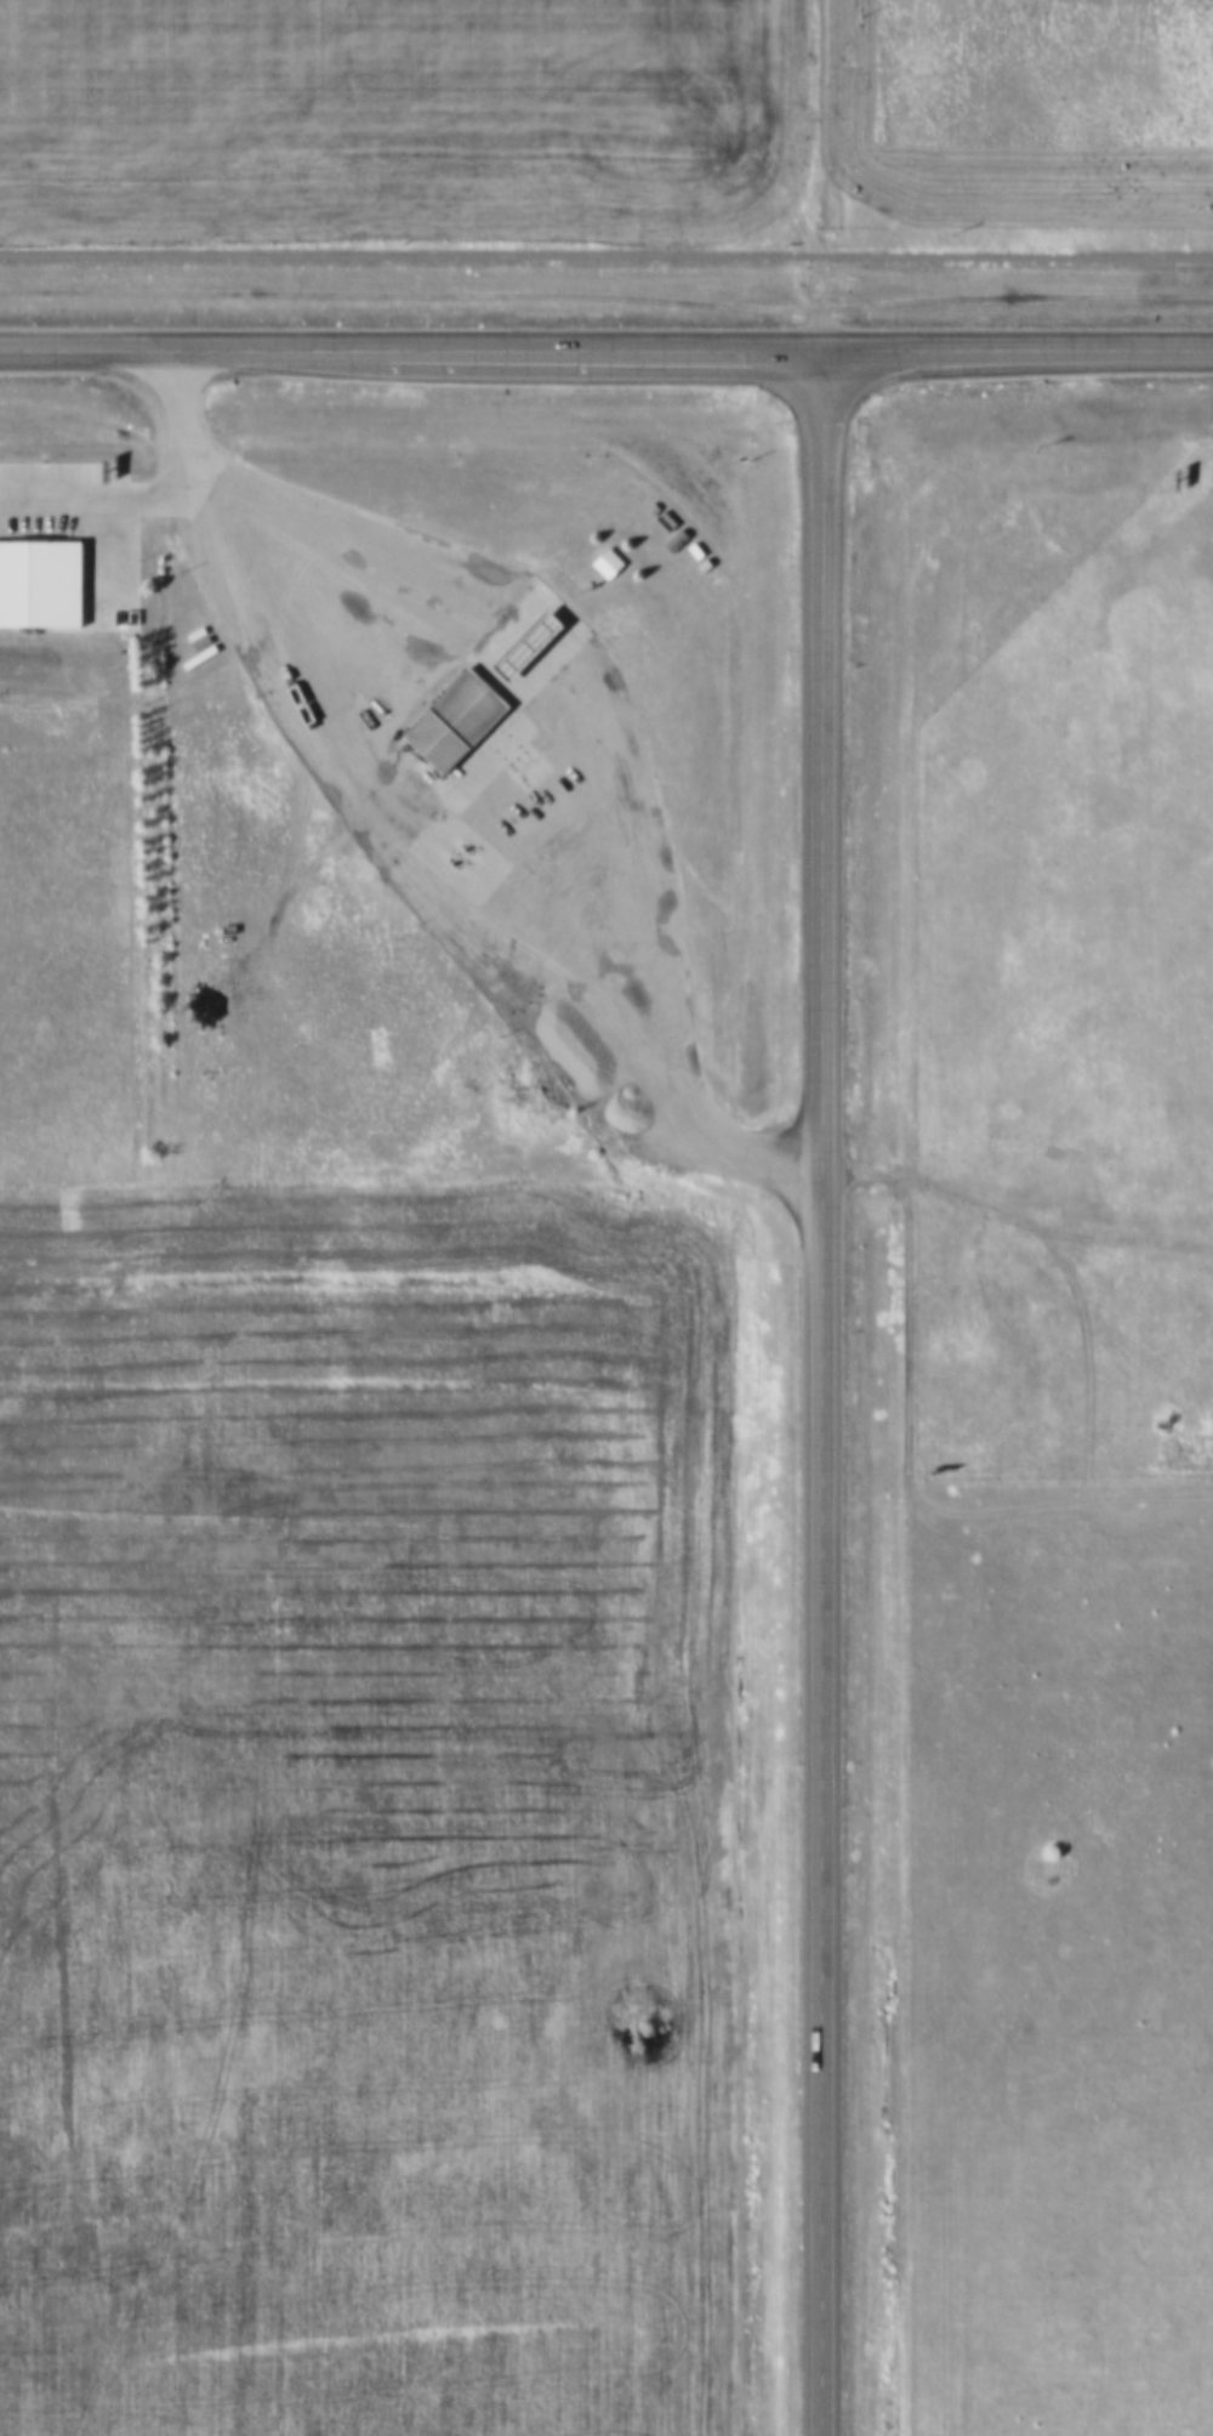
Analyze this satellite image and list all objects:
road: (827, 174)
road: (606, 256)
road: (194, 345)
road: (603, 345)
road: (1015, 348)
building: (599, 562)
building: (519, 641)
building: (446, 716)
road: (408, 836)
road: (821, 1391)

